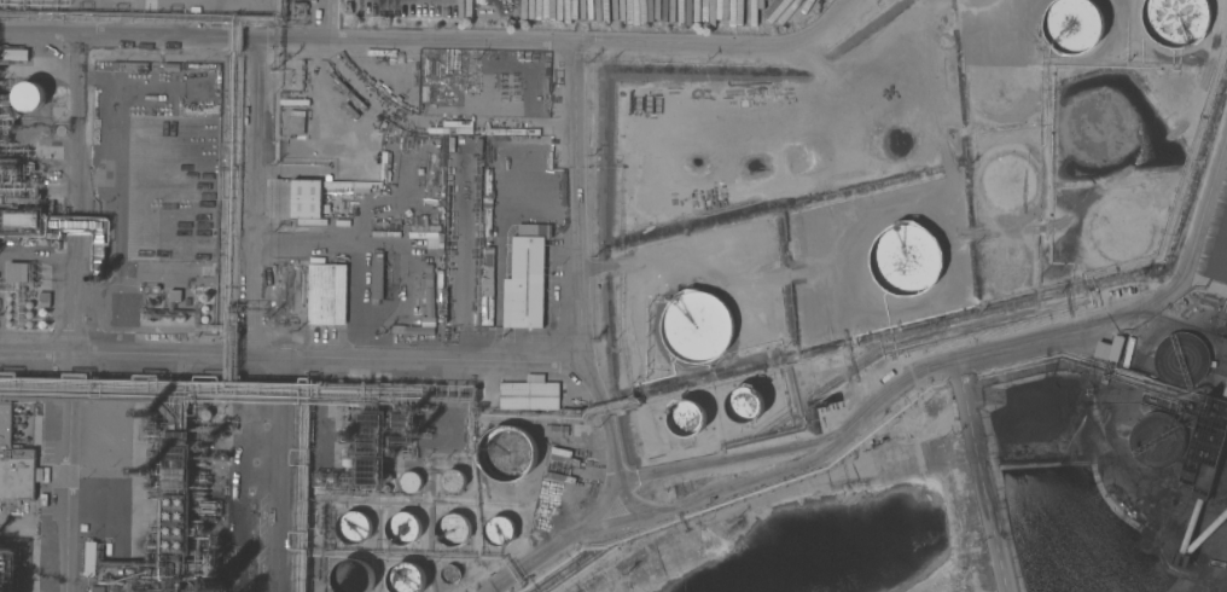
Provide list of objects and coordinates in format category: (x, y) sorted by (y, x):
building: (1176, 21)
building: (1074, 25)
road: (435, 41)
building: (16, 54)
building: (129, 65)
building: (542, 75)
building: (29, 95)
building: (479, 97)
road: (75, 191)
road: (254, 197)
building: (306, 198)
road: (571, 198)
building: (22, 220)
building: (463, 222)
building: (533, 230)
building: (1219, 254)
building: (906, 259)
building: (16, 272)
building: (376, 278)
building: (525, 282)
building: (326, 292)
building: (429, 302)
building: (487, 310)
building: (133, 317)
building: (698, 327)
building: (1107, 349)
road: (292, 358)
road: (975, 359)
building: (1179, 359)
building: (529, 394)
building: (744, 404)
building: (685, 417)
building: (402, 420)
building: (105, 424)
building: (556, 430)
building: (371, 433)
road: (609, 435)
building: (1156, 441)
building: (507, 453)
building: (14, 463)
building: (175, 465)
road: (69, 471)
building: (371, 471)
road: (981, 477)
building: (1198, 478)
building: (453, 481)
building: (409, 482)
road: (272, 503)
building: (175, 523)
building: (351, 526)
building: (403, 528)
building: (452, 529)
building: (498, 530)
road: (560, 541)
building: (89, 557)
building: (449, 574)
building: (351, 575)
building: (407, 578)

